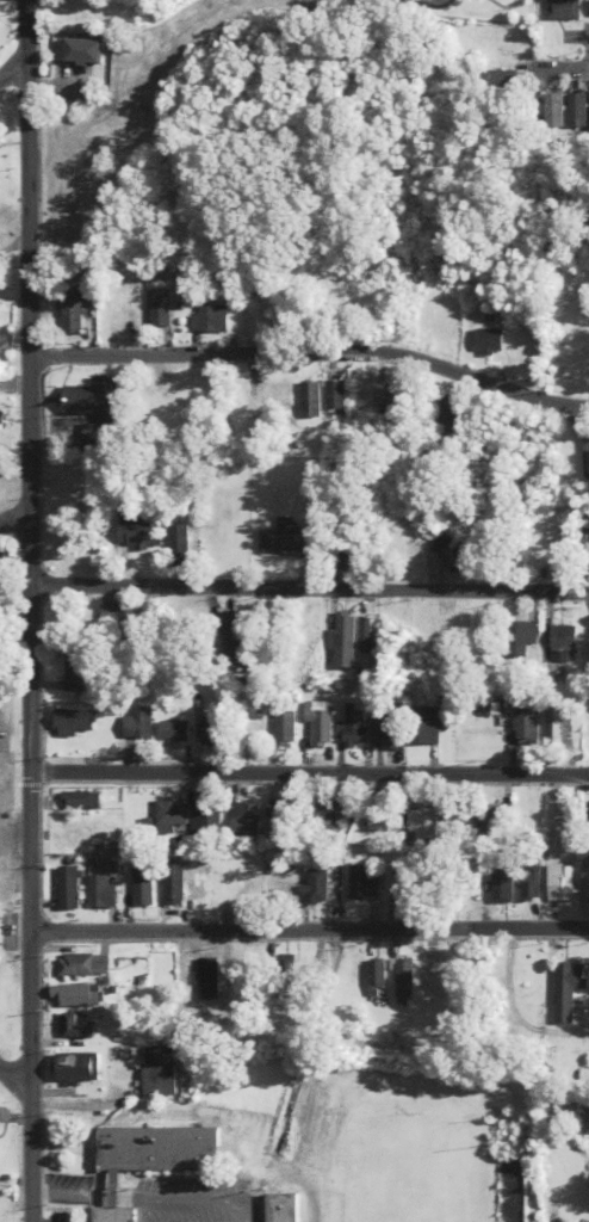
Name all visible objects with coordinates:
building: (588, 8)
building: (559, 10)
building: (79, 53)
road: (569, 68)
road: (12, 69)
building: (560, 111)
building: (588, 111)
road: (30, 259)
building: (157, 308)
building: (114, 316)
building: (258, 317)
building: (70, 319)
building: (209, 320)
building: (418, 323)
building: (486, 342)
road: (314, 353)
building: (335, 399)
building: (309, 400)
building: (365, 400)
building: (91, 408)
building: (448, 413)
building: (584, 459)
road: (14, 519)
building: (134, 532)
building: (284, 541)
building: (176, 545)
building: (449, 551)
building: (583, 554)
building: (413, 557)
building: (345, 561)
road: (310, 588)
building: (117, 619)
building: (230, 634)
building: (517, 638)
building: (348, 640)
building: (559, 644)
building: (74, 672)
building: (490, 709)
building: (72, 722)
building: (526, 722)
building: (318, 723)
building: (137, 724)
building: (559, 724)
building: (424, 726)
building: (352, 727)
building: (386, 727)
building: (284, 729)
building: (209, 732)
building: (172, 734)
road: (310, 774)
building: (79, 801)
building: (278, 810)
building: (321, 810)
building: (588, 814)
building: (169, 819)
building: (490, 819)
building: (205, 820)
building: (243, 820)
building: (377, 820)
building: (458, 820)
building: (420, 823)
road: (31, 870)
building: (584, 882)
building: (556, 883)
building: (173, 884)
building: (361, 884)
building: (527, 885)
building: (316, 887)
building: (500, 887)
building: (68, 888)
building: (243, 888)
building: (99, 891)
road: (310, 930)
building: (80, 965)
building: (374, 973)
building: (401, 979)
building: (206, 980)
building: (564, 989)
building: (266, 990)
building: (79, 995)
building: (79, 1026)
building: (79, 1067)
building: (159, 1070)
road: (14, 1080)
building: (159, 1146)
building: (575, 1190)
road: (72, 1197)
parking lot: (193, 1197)
road: (193, 1197)
road: (116, 1198)
road: (131, 1198)
building: (281, 1208)
building: (114, 1212)

